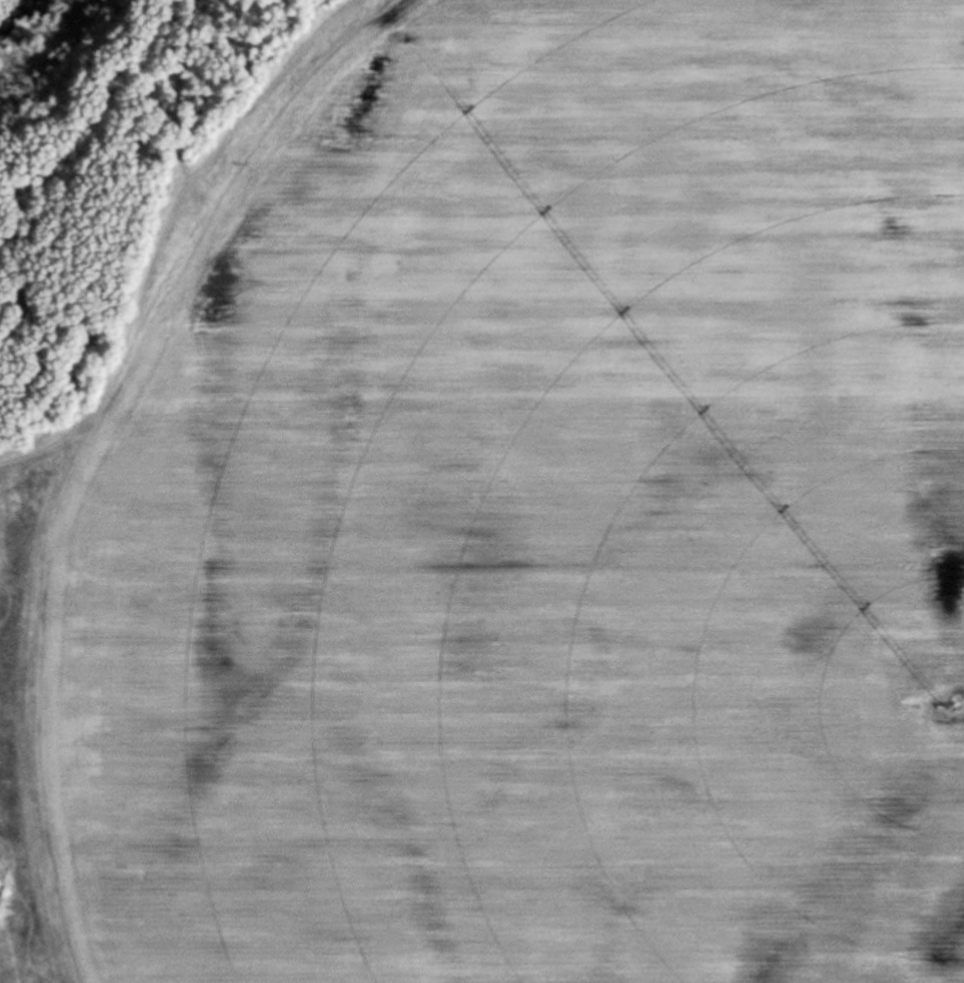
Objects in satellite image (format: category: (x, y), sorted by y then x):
crop: (517, 521)

